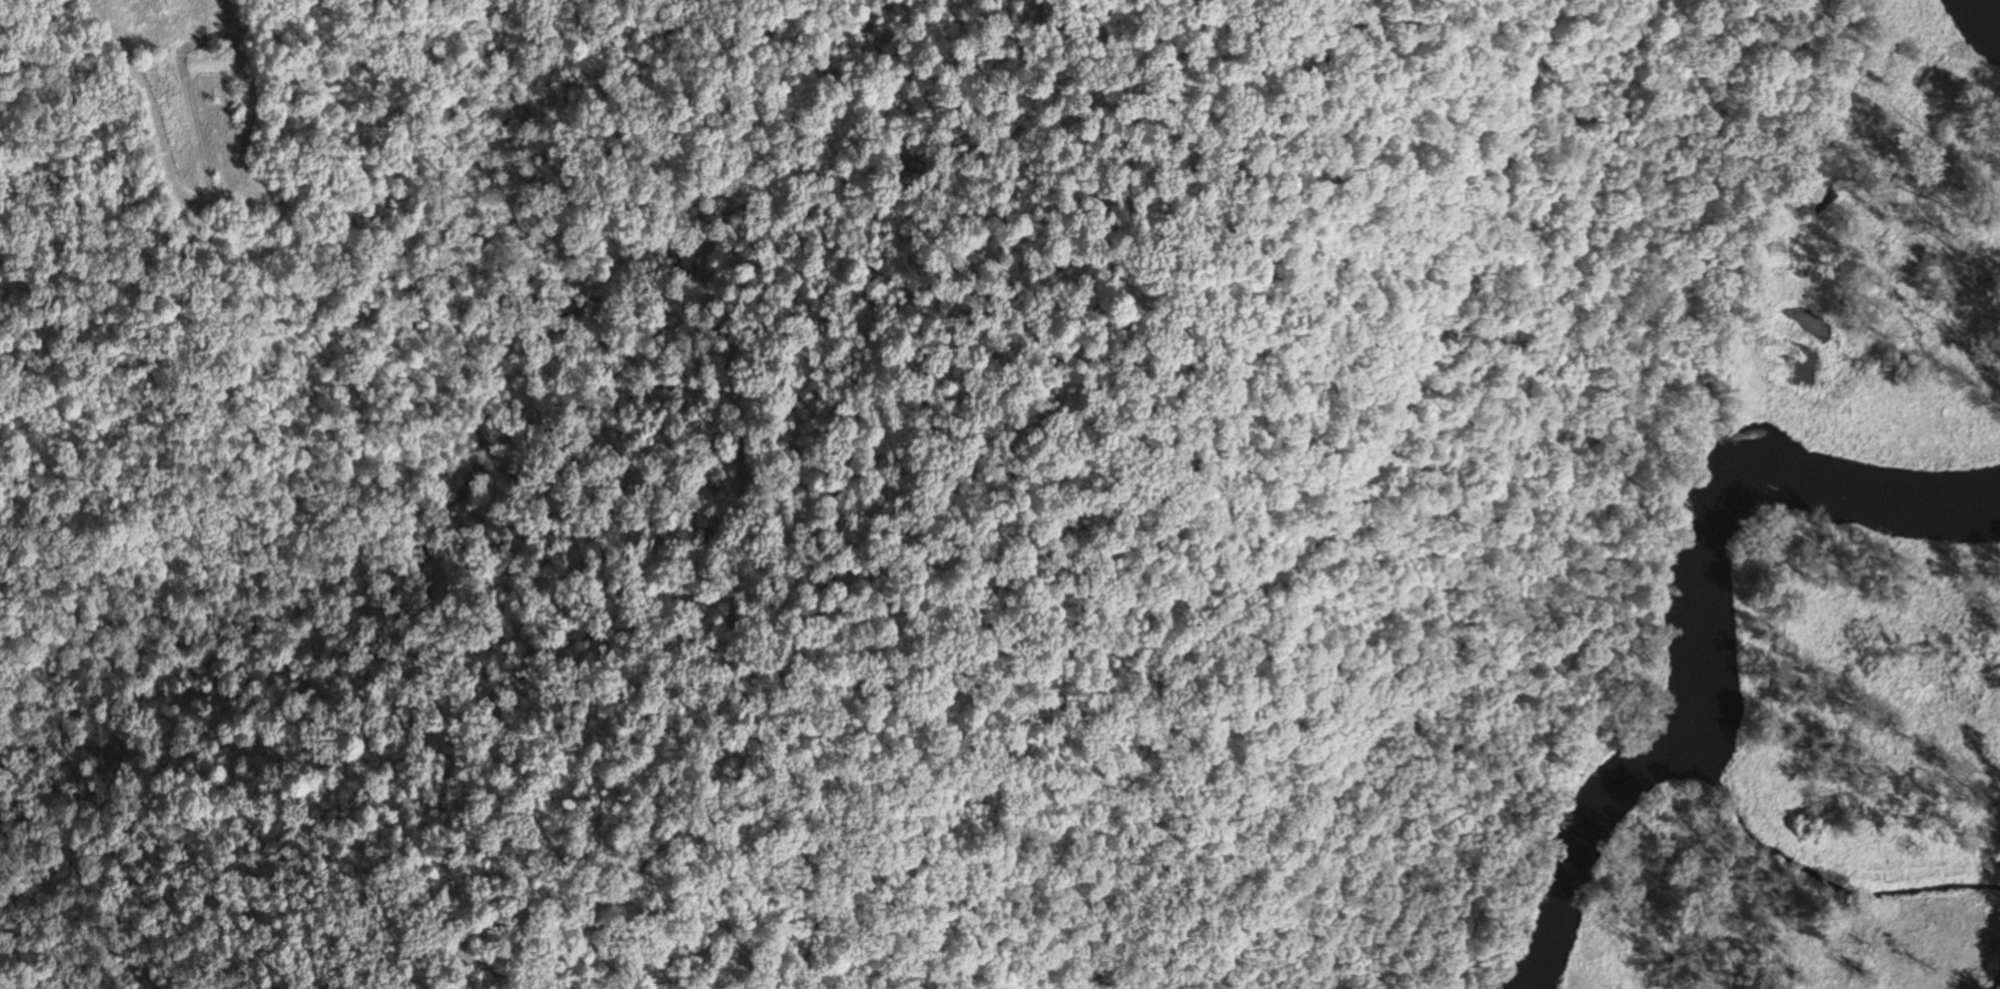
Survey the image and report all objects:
river: (1985, 15)
river: (1704, 615)
river: (1809, 869)
river: (1996, 982)

